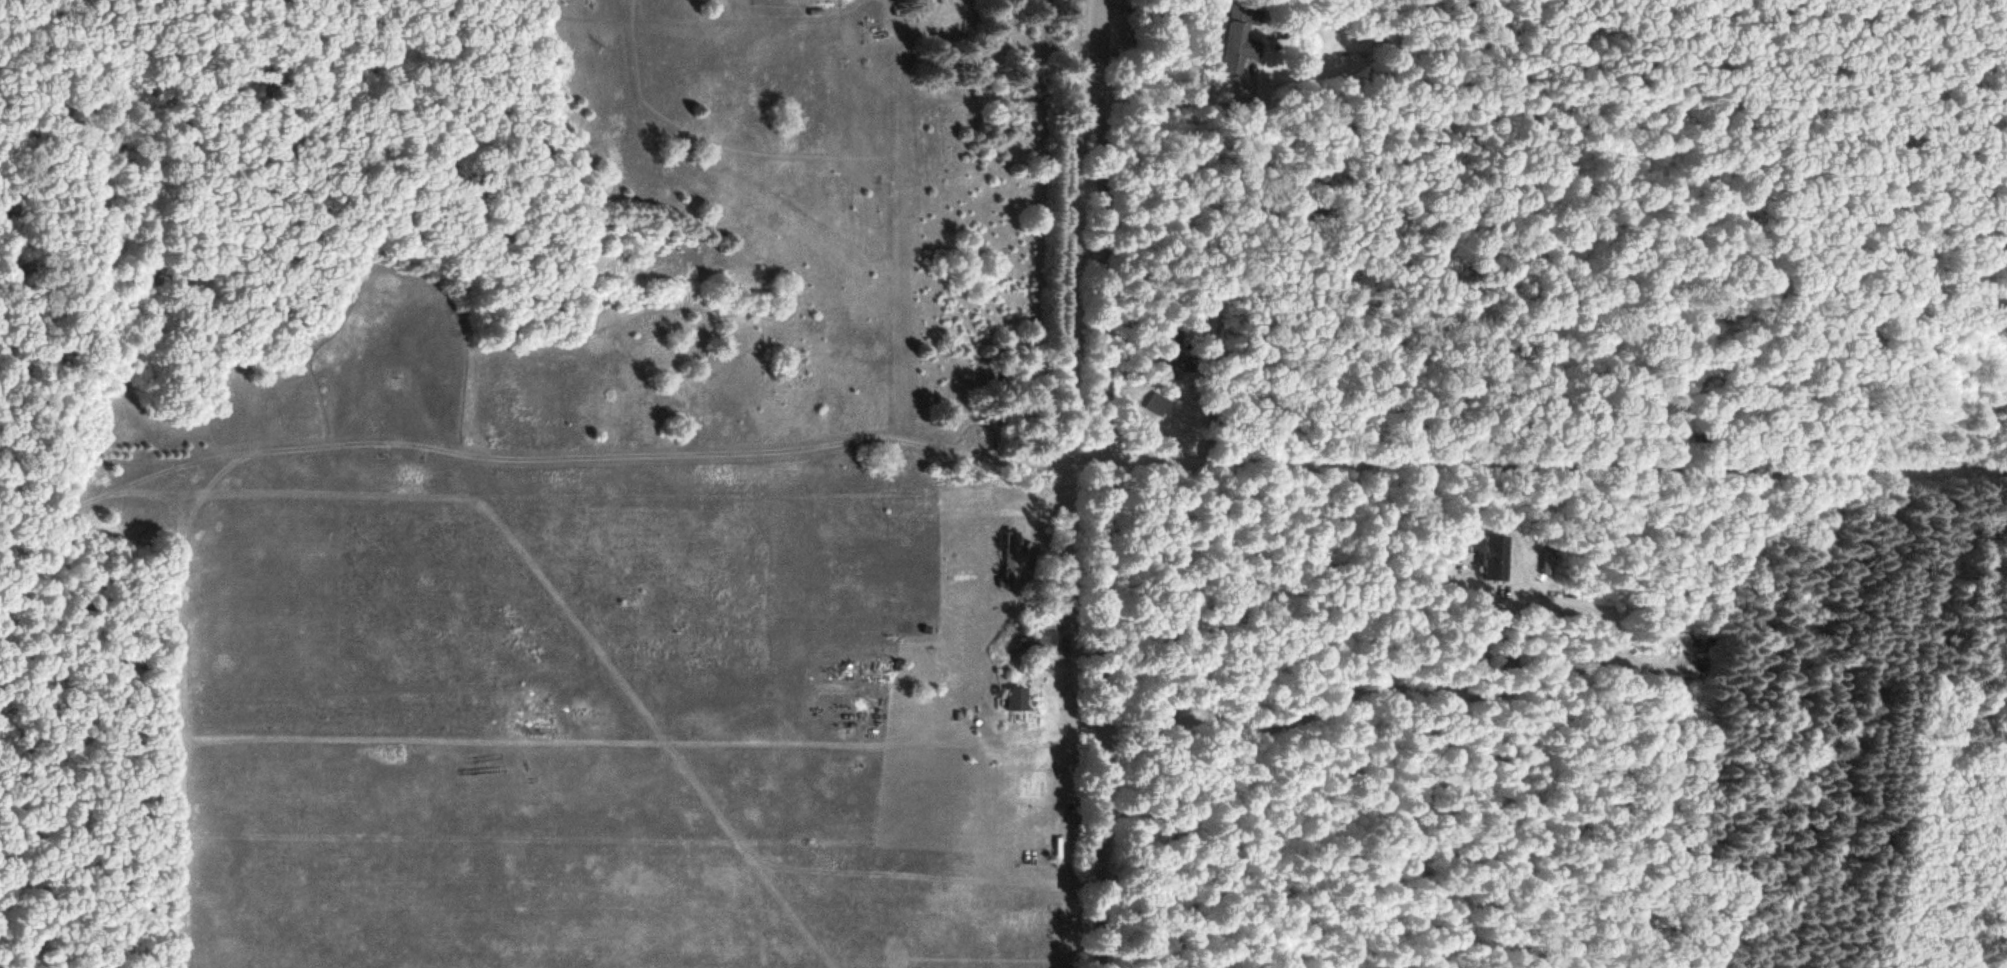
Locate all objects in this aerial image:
building: (1229, 46)
road: (1556, 465)
road: (1106, 483)
building: (1494, 558)
building: (1012, 560)
building: (1044, 635)
building: (1014, 699)

